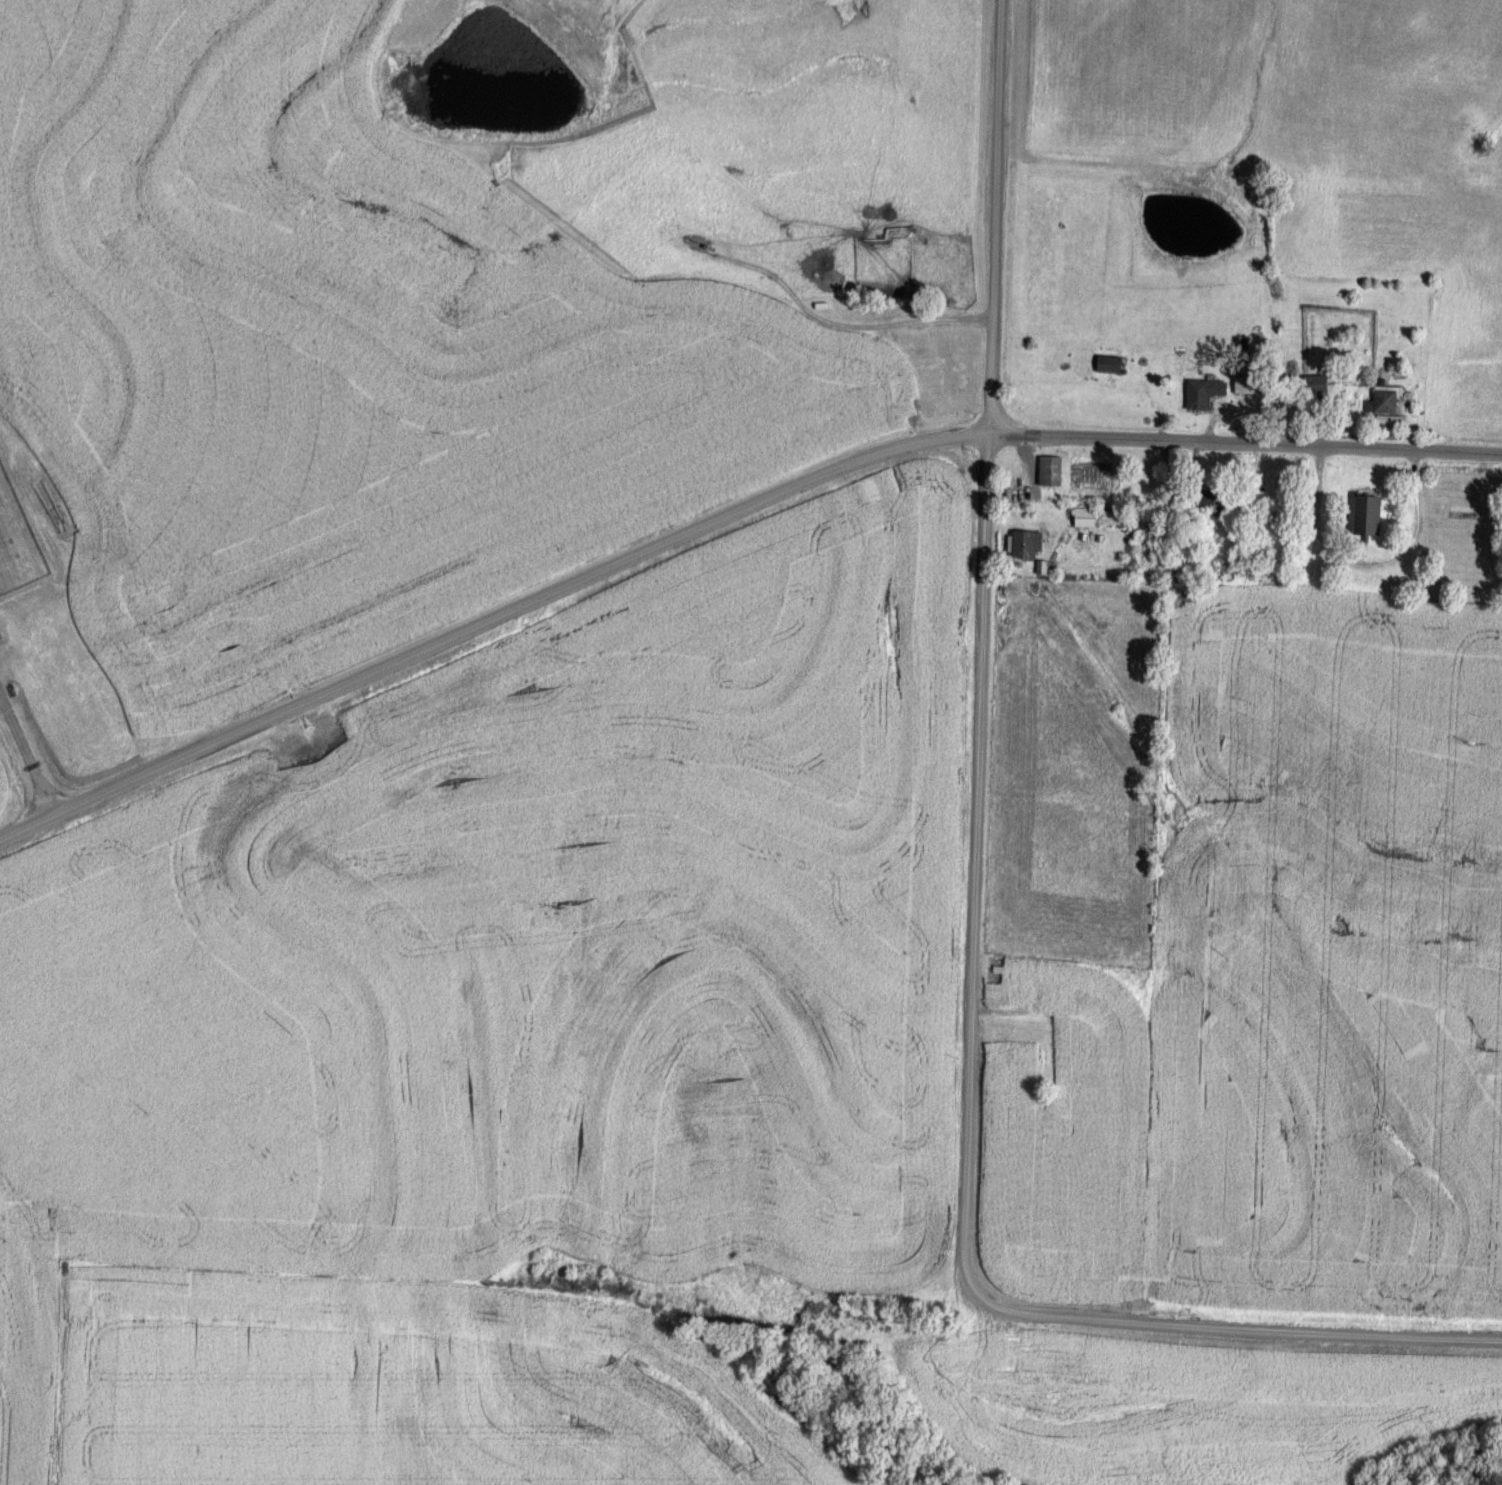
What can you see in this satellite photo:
road: (815, 317)
building: (1112, 363)
building: (1319, 383)
building: (1207, 393)
building: (1389, 399)
road: (1246, 444)
building: (1053, 471)
building: (1221, 498)
building: (1278, 514)
building: (1371, 515)
building: (1087, 516)
building: (1028, 544)
road: (1363, 568)
road: (489, 621)
road: (28, 751)
road: (977, 915)

